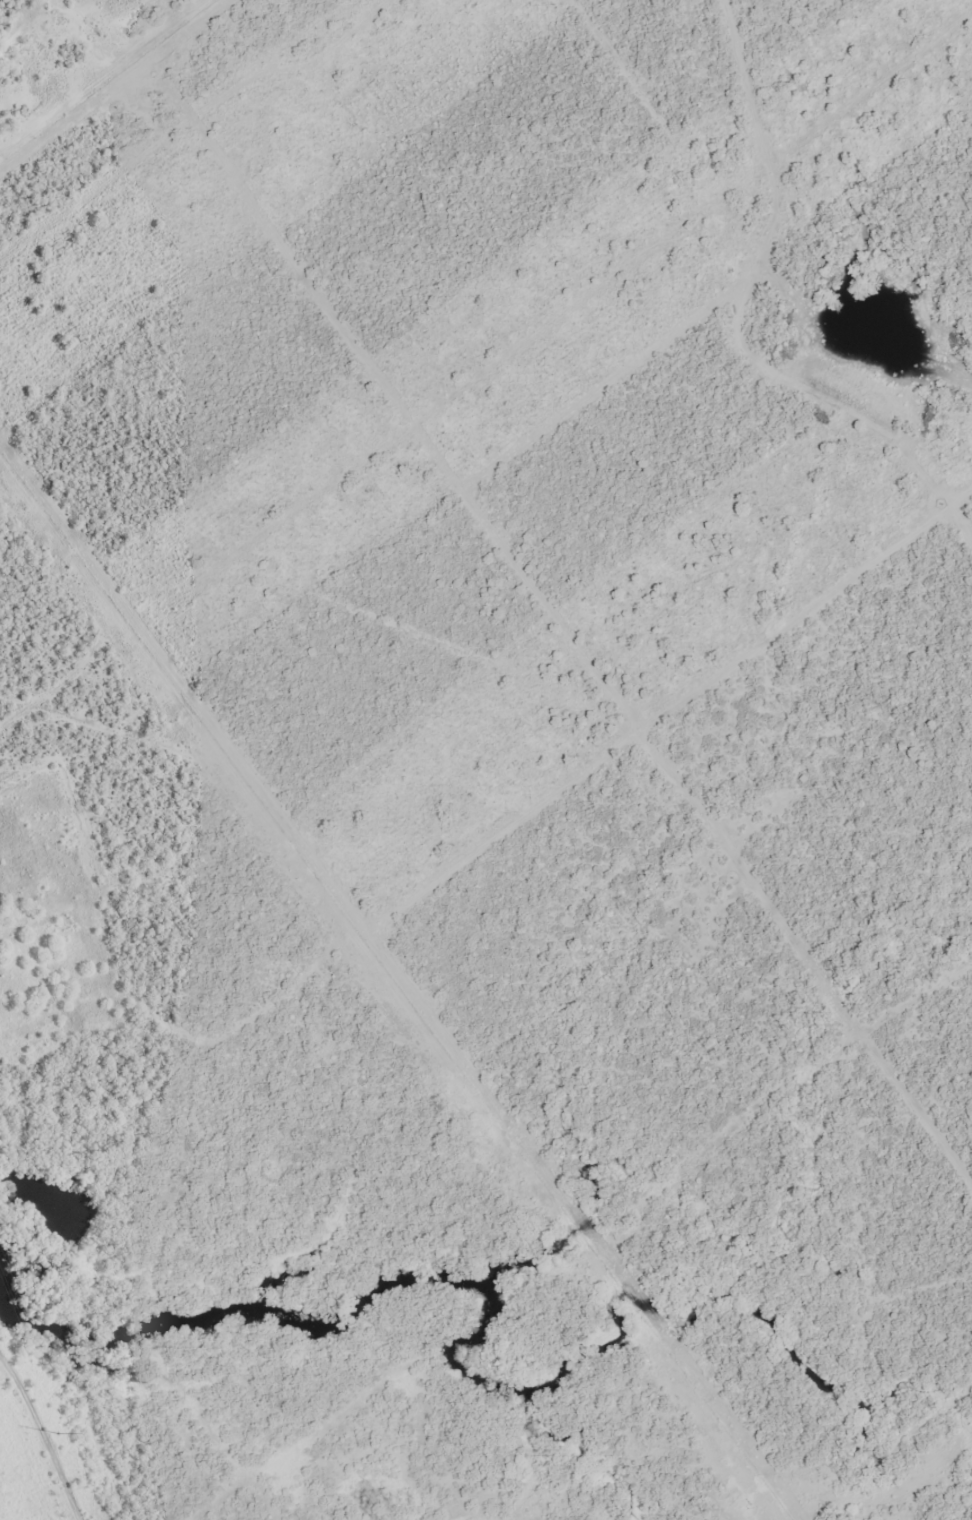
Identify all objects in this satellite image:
power tower: (55, 1434)

